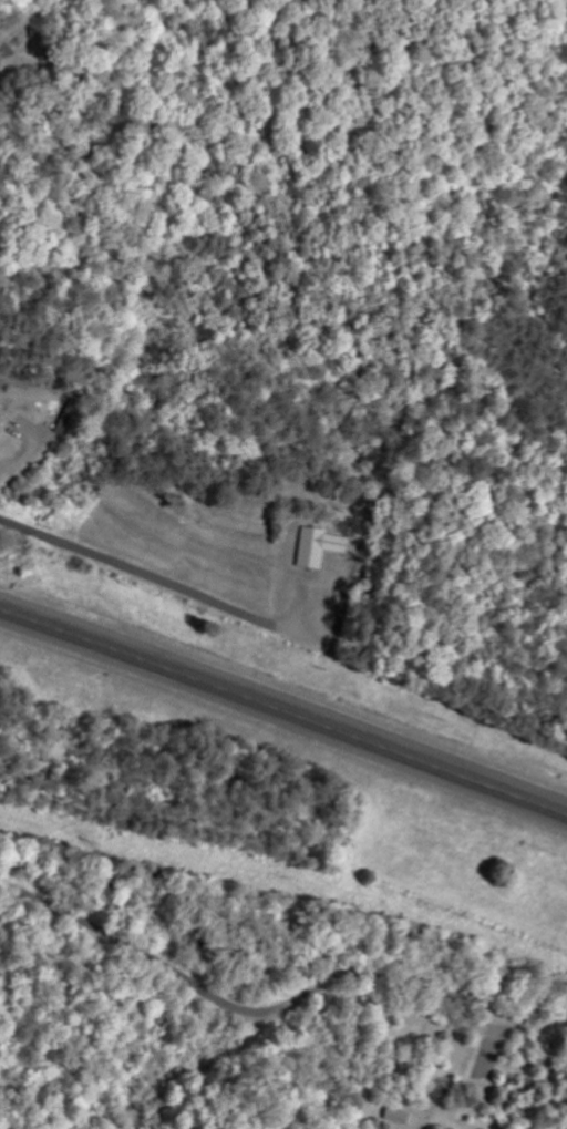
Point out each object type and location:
building: (319, 547)
road: (138, 573)
road: (283, 711)
road: (274, 1014)
building: (396, 1116)

